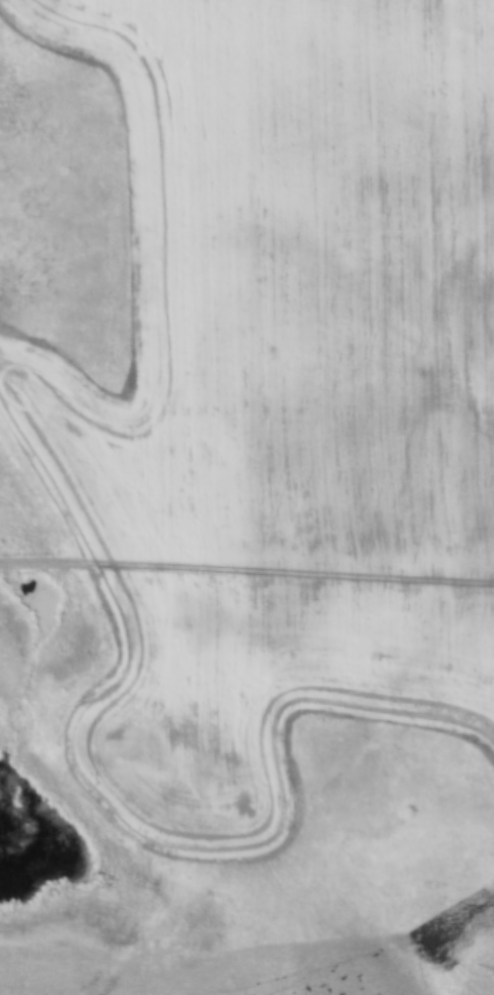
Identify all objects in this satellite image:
road: (246, 566)

